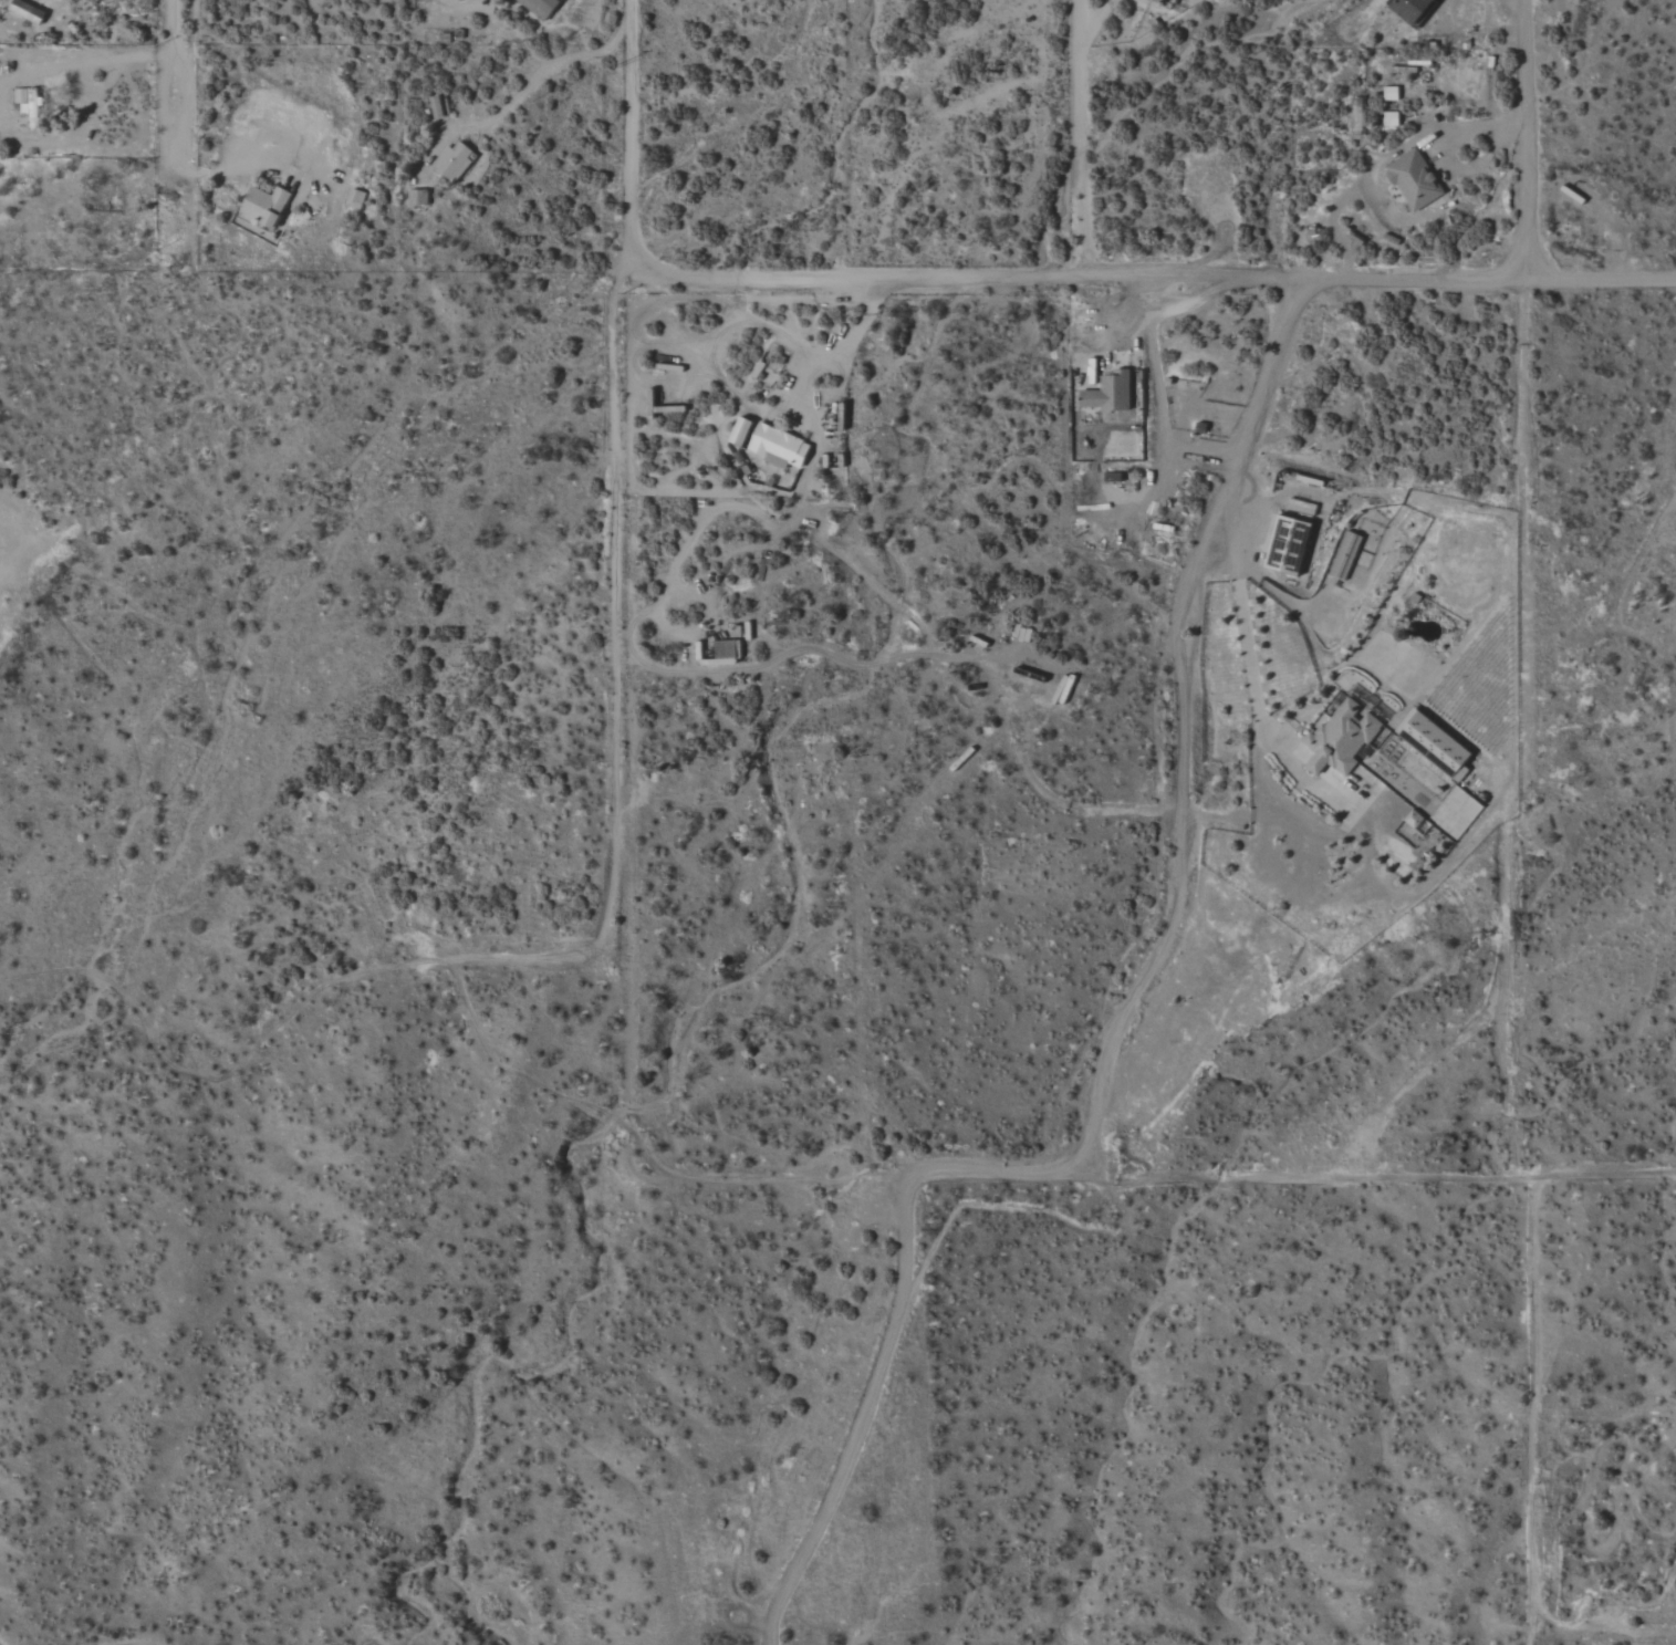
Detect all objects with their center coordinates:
building: (1157, 1)
building: (538, 8)
building: (1410, 10)
building: (24, 11)
road: (126, 55)
road: (38, 73)
road: (540, 75)
road: (174, 83)
building: (1389, 94)
building: (28, 105)
building: (438, 107)
building: (1389, 119)
road: (632, 135)
road: (67, 137)
road: (1080, 139)
building: (452, 160)
building: (1413, 181)
building: (417, 198)
building: (262, 207)
road: (1152, 278)
road: (1137, 298)
road: (853, 339)
road: (1155, 372)
building: (1106, 393)
building: (738, 433)
building: (777, 447)
road: (1360, 490)
building: (1285, 545)
building: (1344, 554)
road: (1511, 586)
building: (725, 650)
road: (1259, 698)
building: (1340, 739)
road: (1041, 791)
road: (1107, 1033)
road: (1594, 1174)

